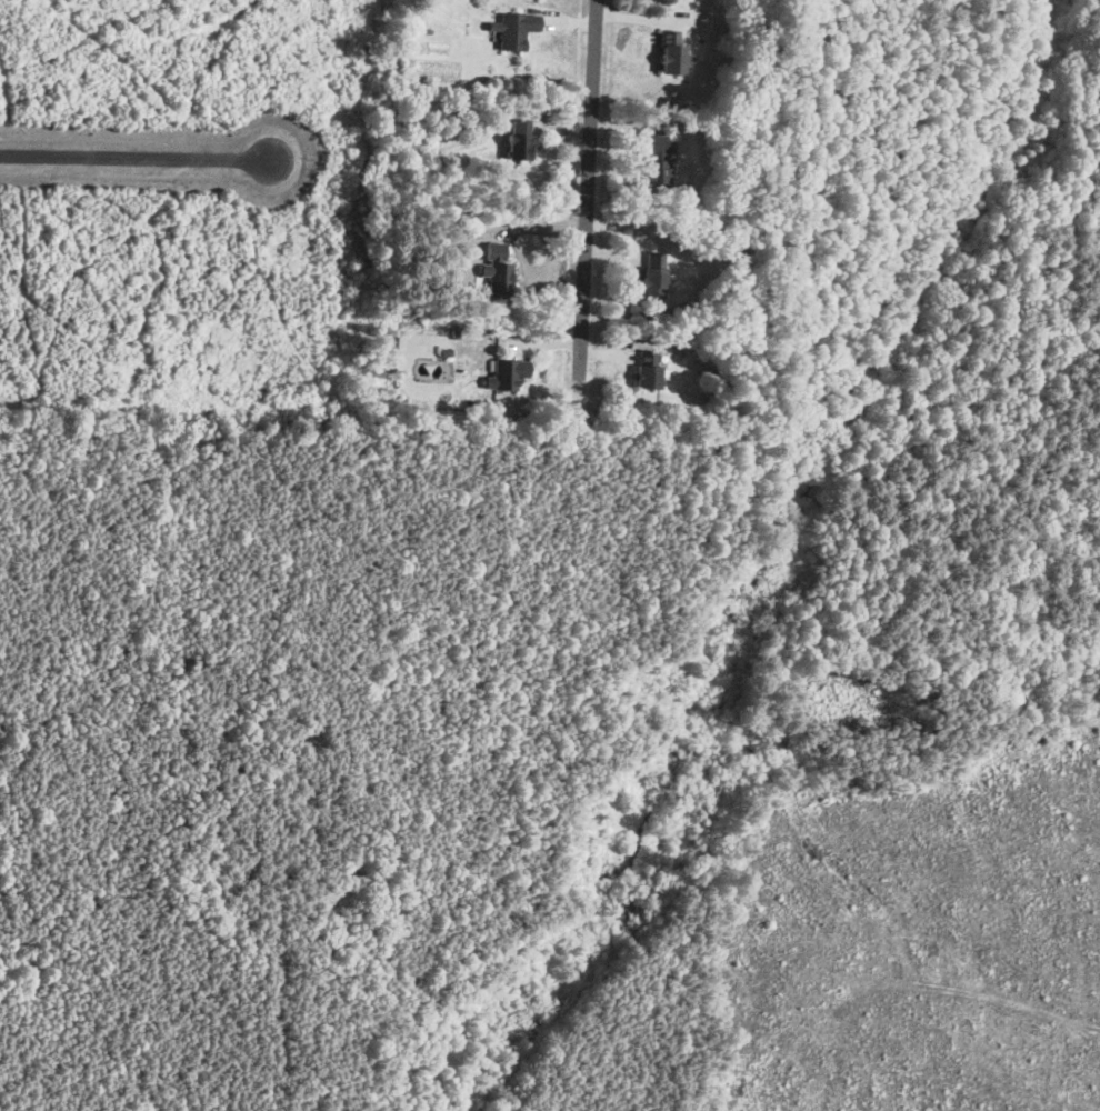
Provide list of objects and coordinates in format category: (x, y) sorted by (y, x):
building: (512, 30)
building: (669, 51)
building: (516, 139)
road: (131, 152)
building: (654, 158)
road: (593, 213)
building: (494, 270)
building: (650, 276)
building: (644, 368)
building: (508, 373)

